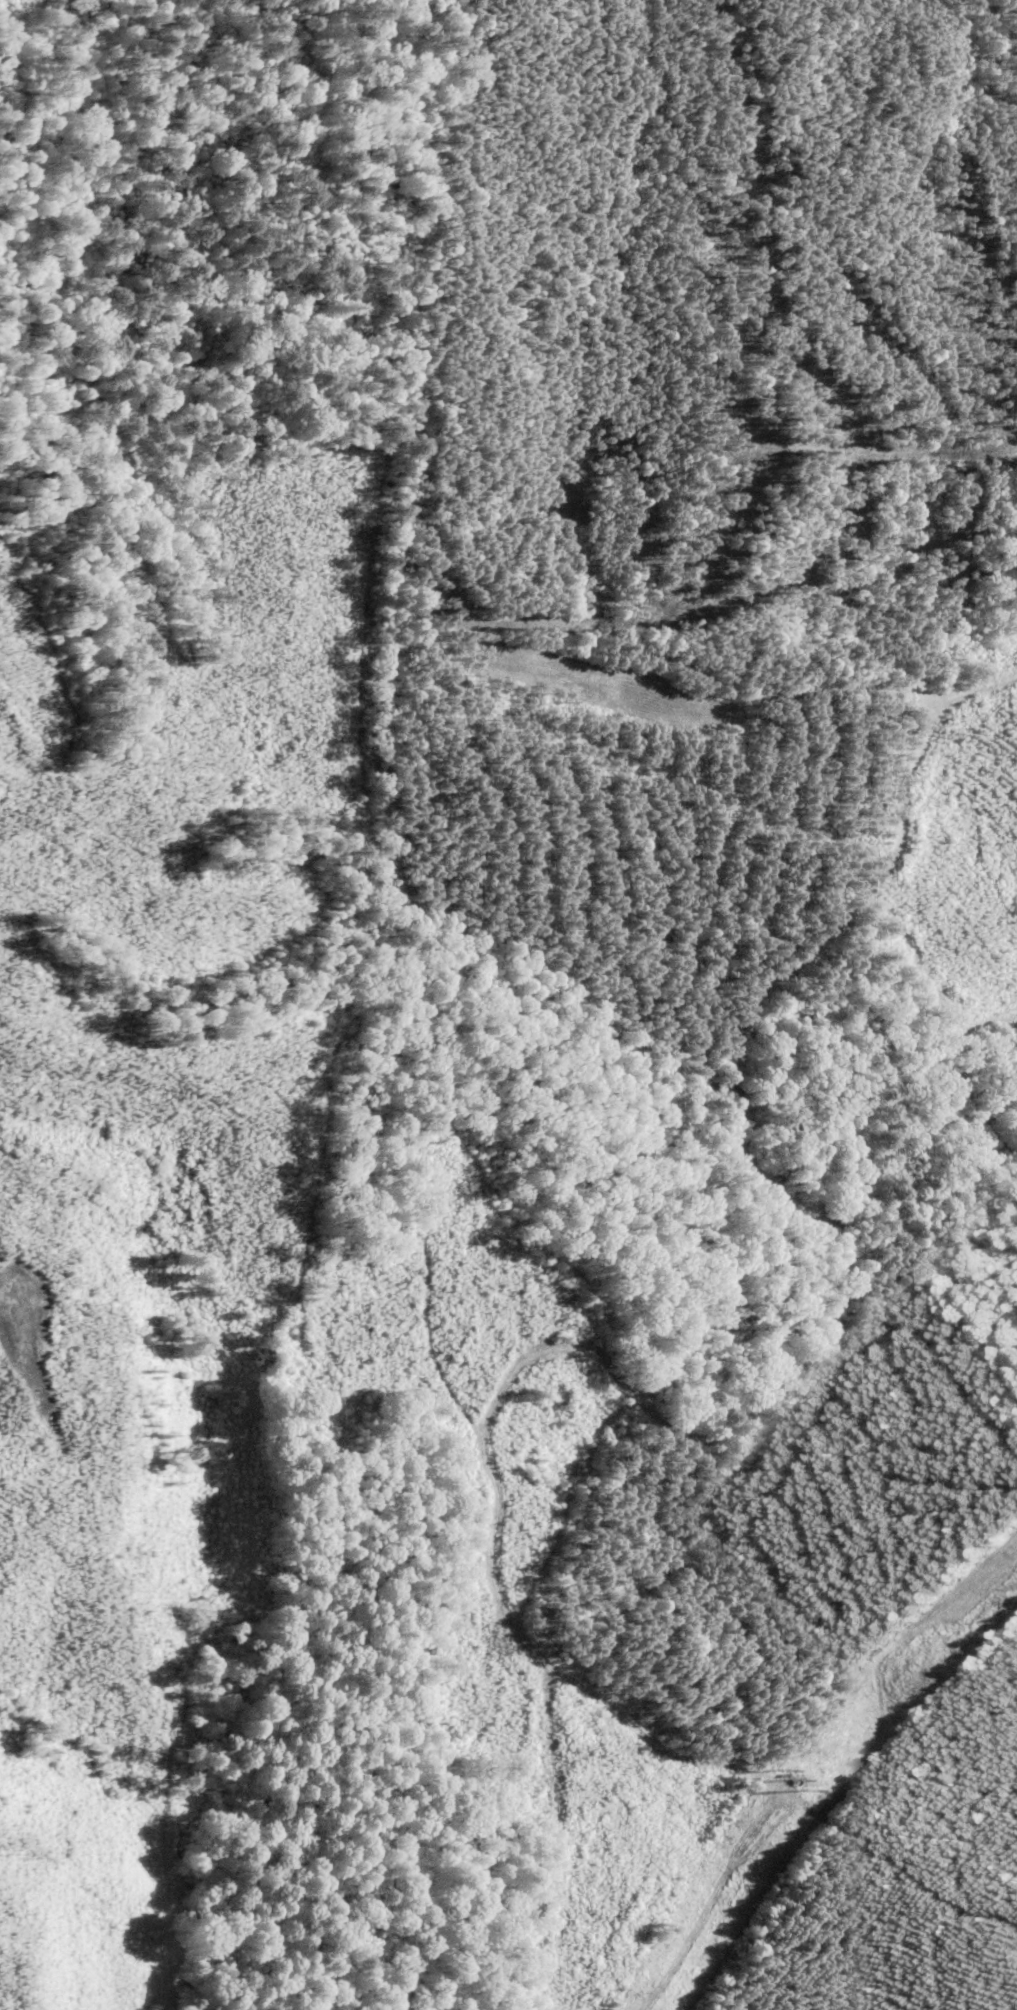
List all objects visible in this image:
power tower: (792, 1787)

